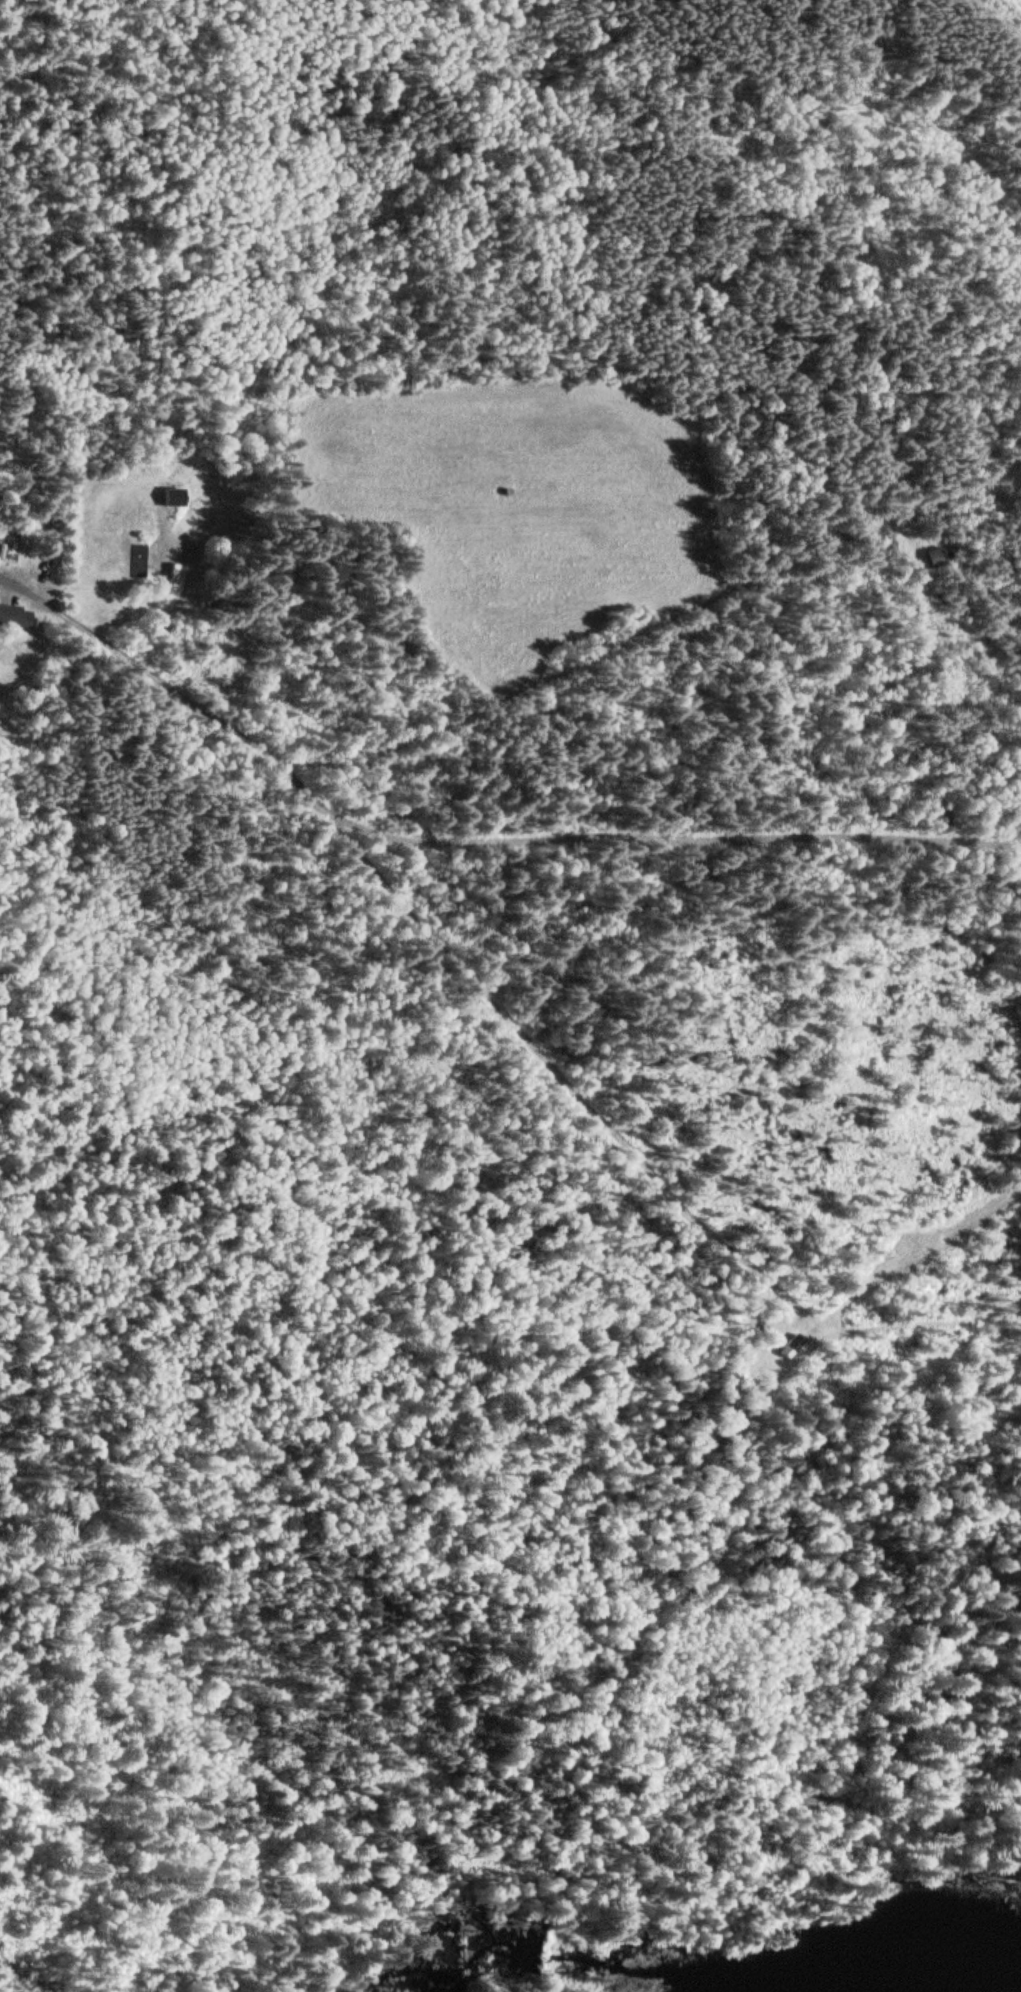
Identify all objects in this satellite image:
building: (167, 495)
building: (932, 555)
building: (133, 559)
building: (8, 613)
road: (501, 699)
road: (634, 825)
building: (790, 1345)
river: (930, 1986)

